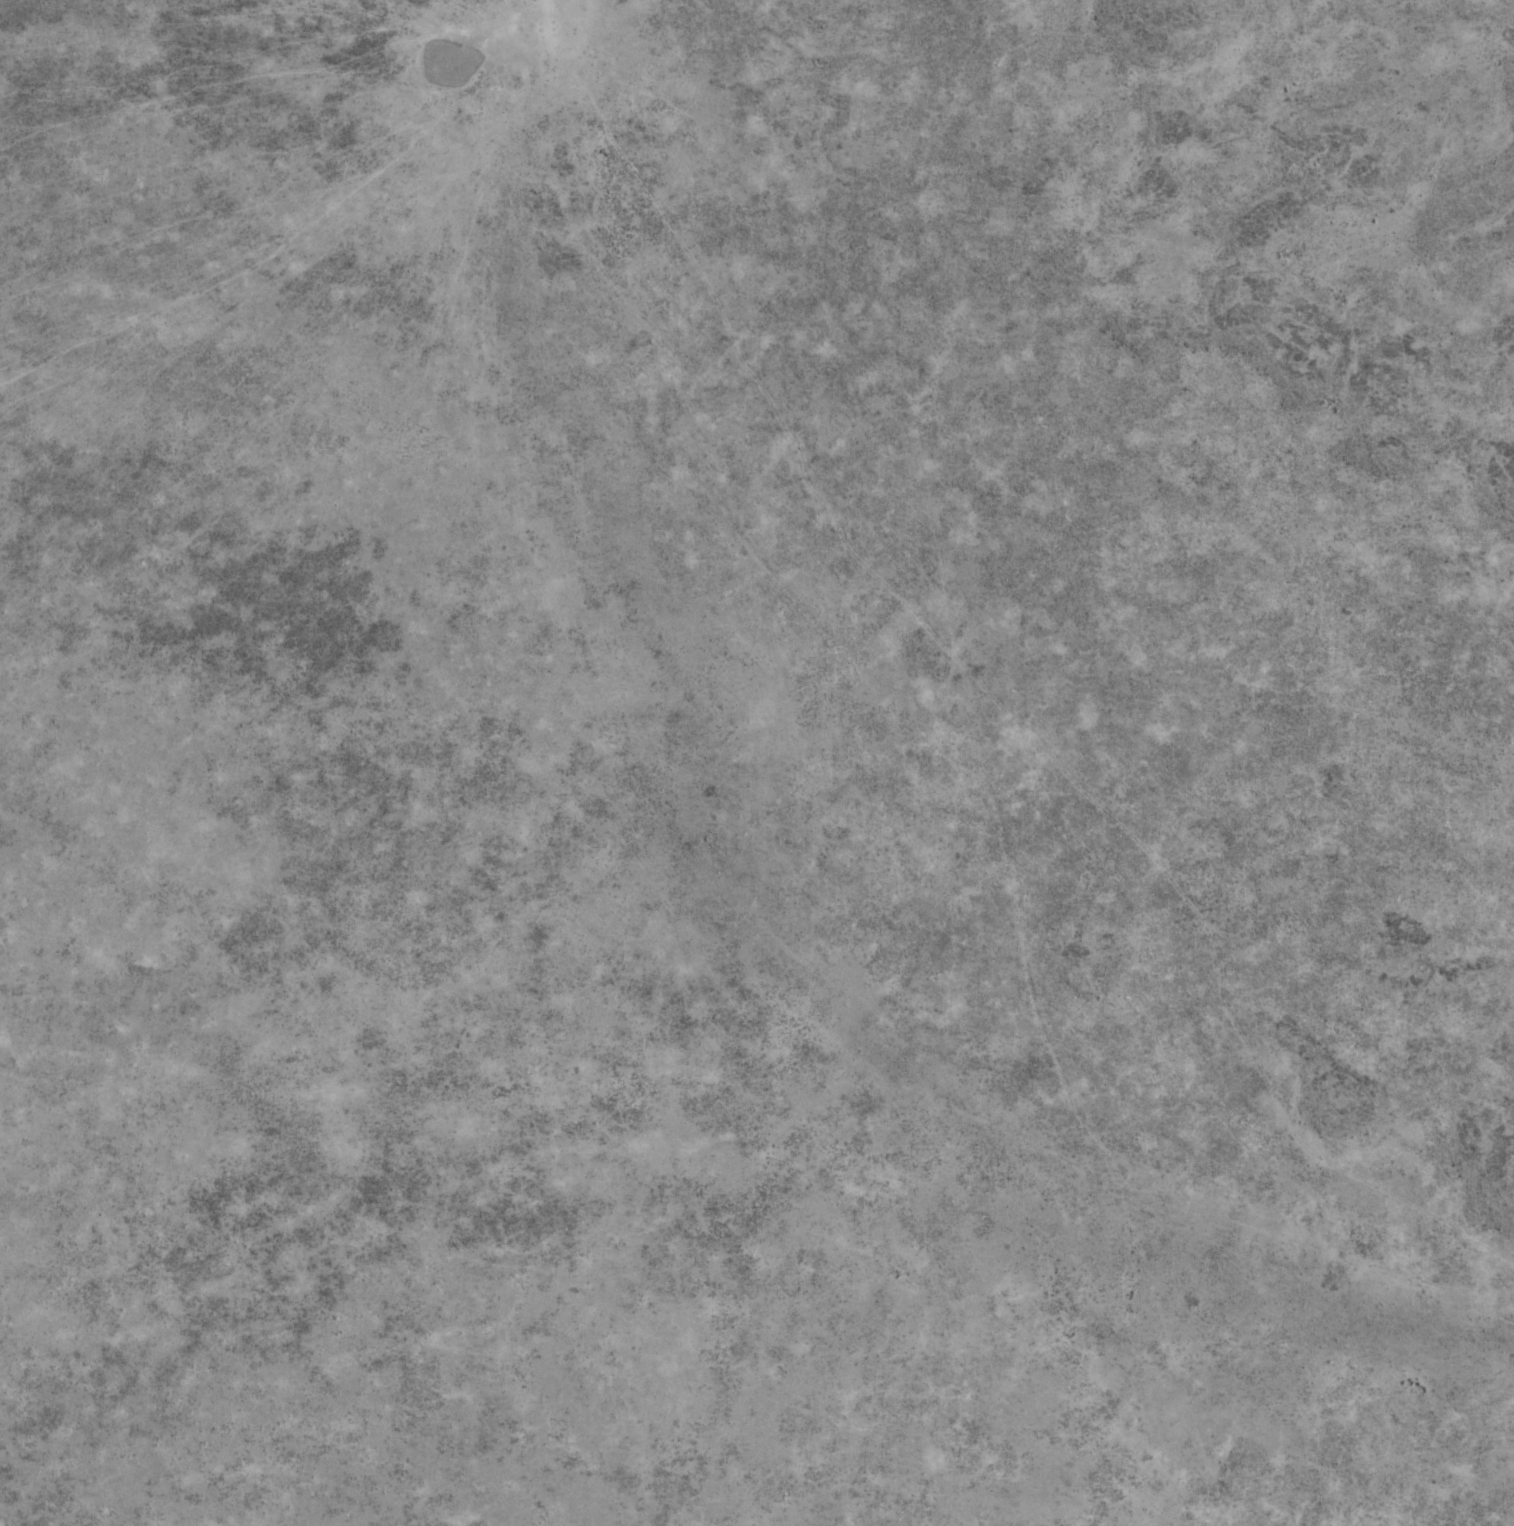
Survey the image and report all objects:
road: (951, 676)

